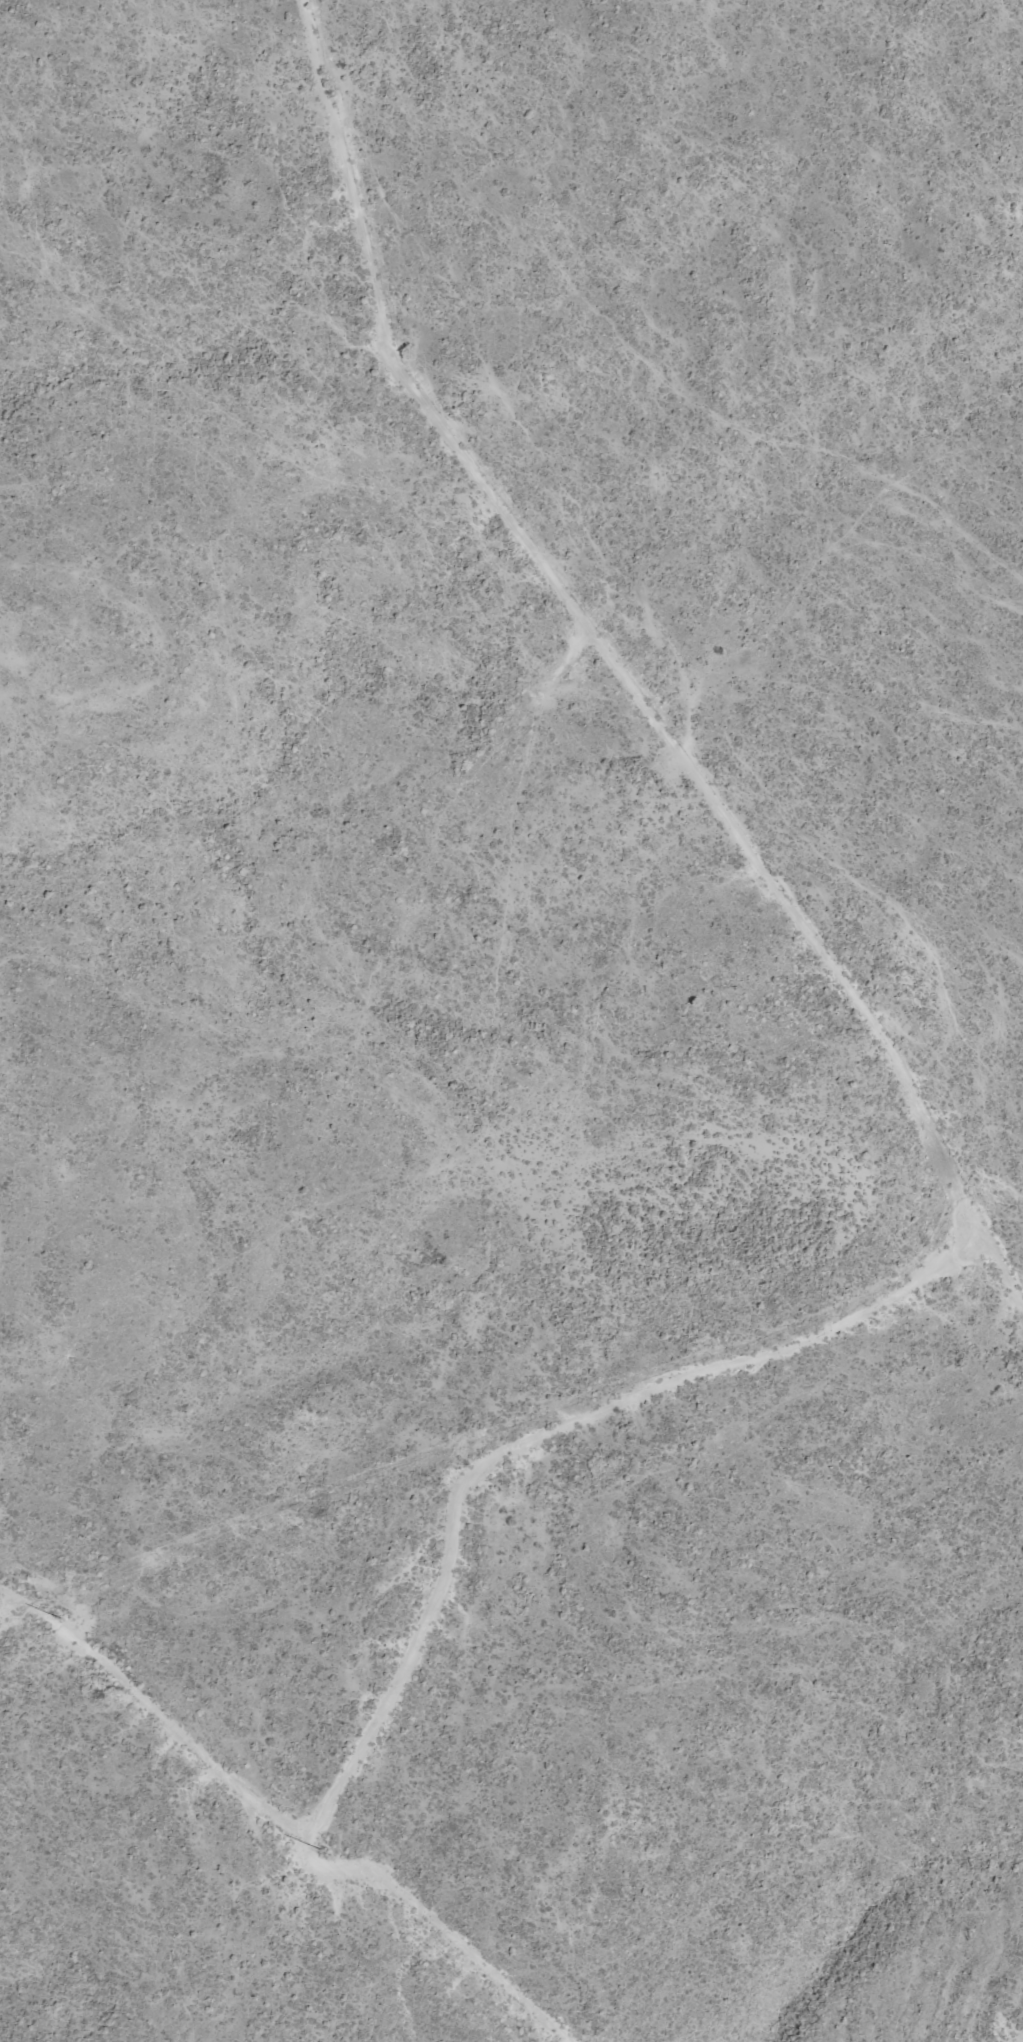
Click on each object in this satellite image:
power tower: (59, 1616)
power tower: (322, 1847)

